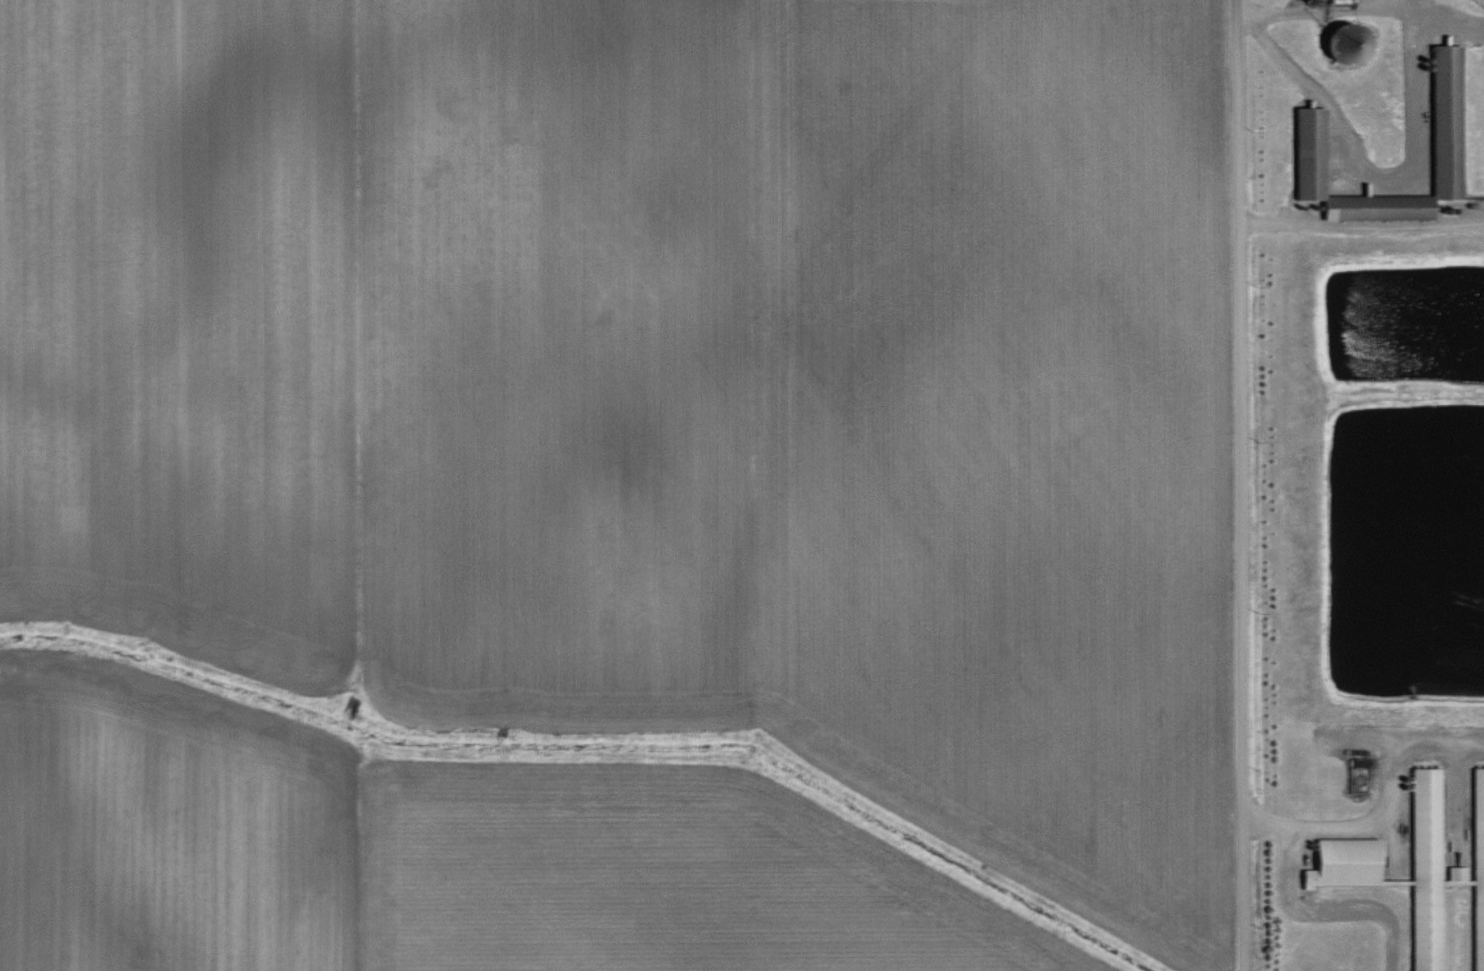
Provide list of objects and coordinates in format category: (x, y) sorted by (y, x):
road: (1450, 15)
building: (1306, 151)
road: (1370, 177)
road: (1358, 223)
road: (1233, 485)
building: (1424, 868)
building: (1454, 874)

